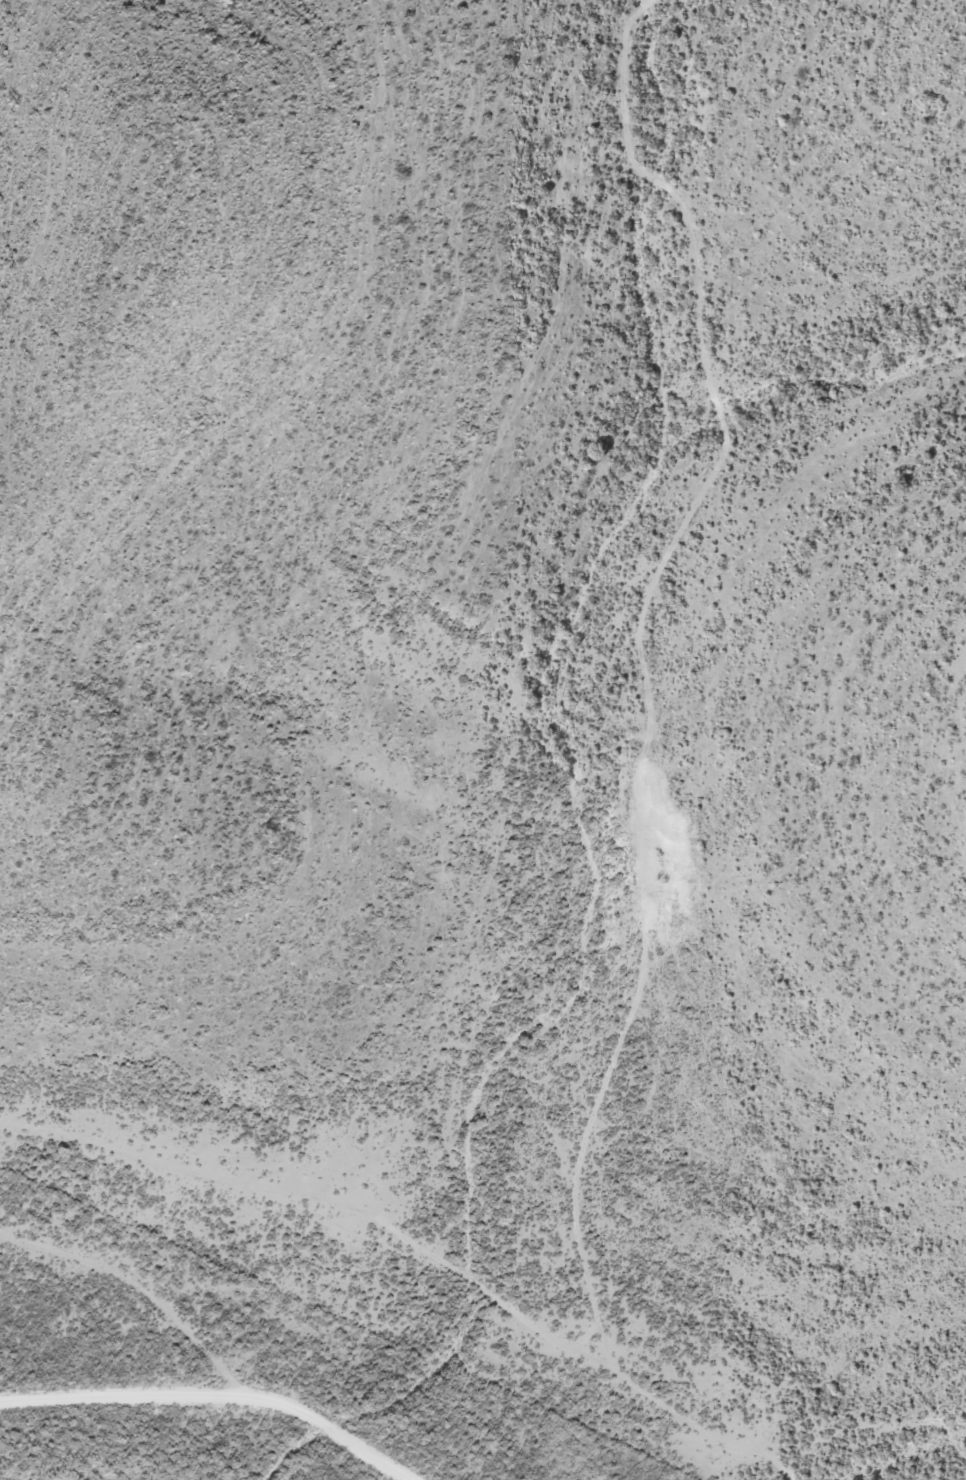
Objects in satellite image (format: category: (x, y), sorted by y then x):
road: (220, 1398)

